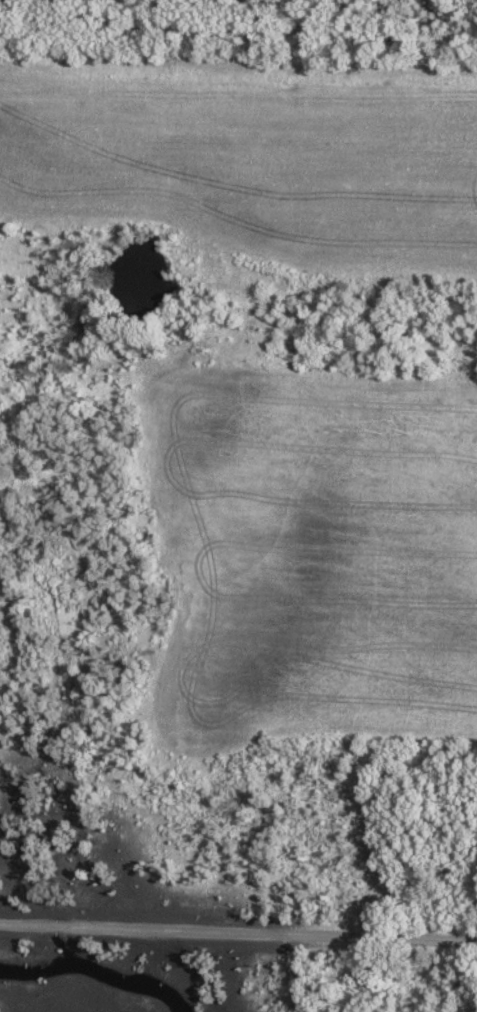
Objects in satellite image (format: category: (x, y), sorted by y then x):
road: (238, 929)

